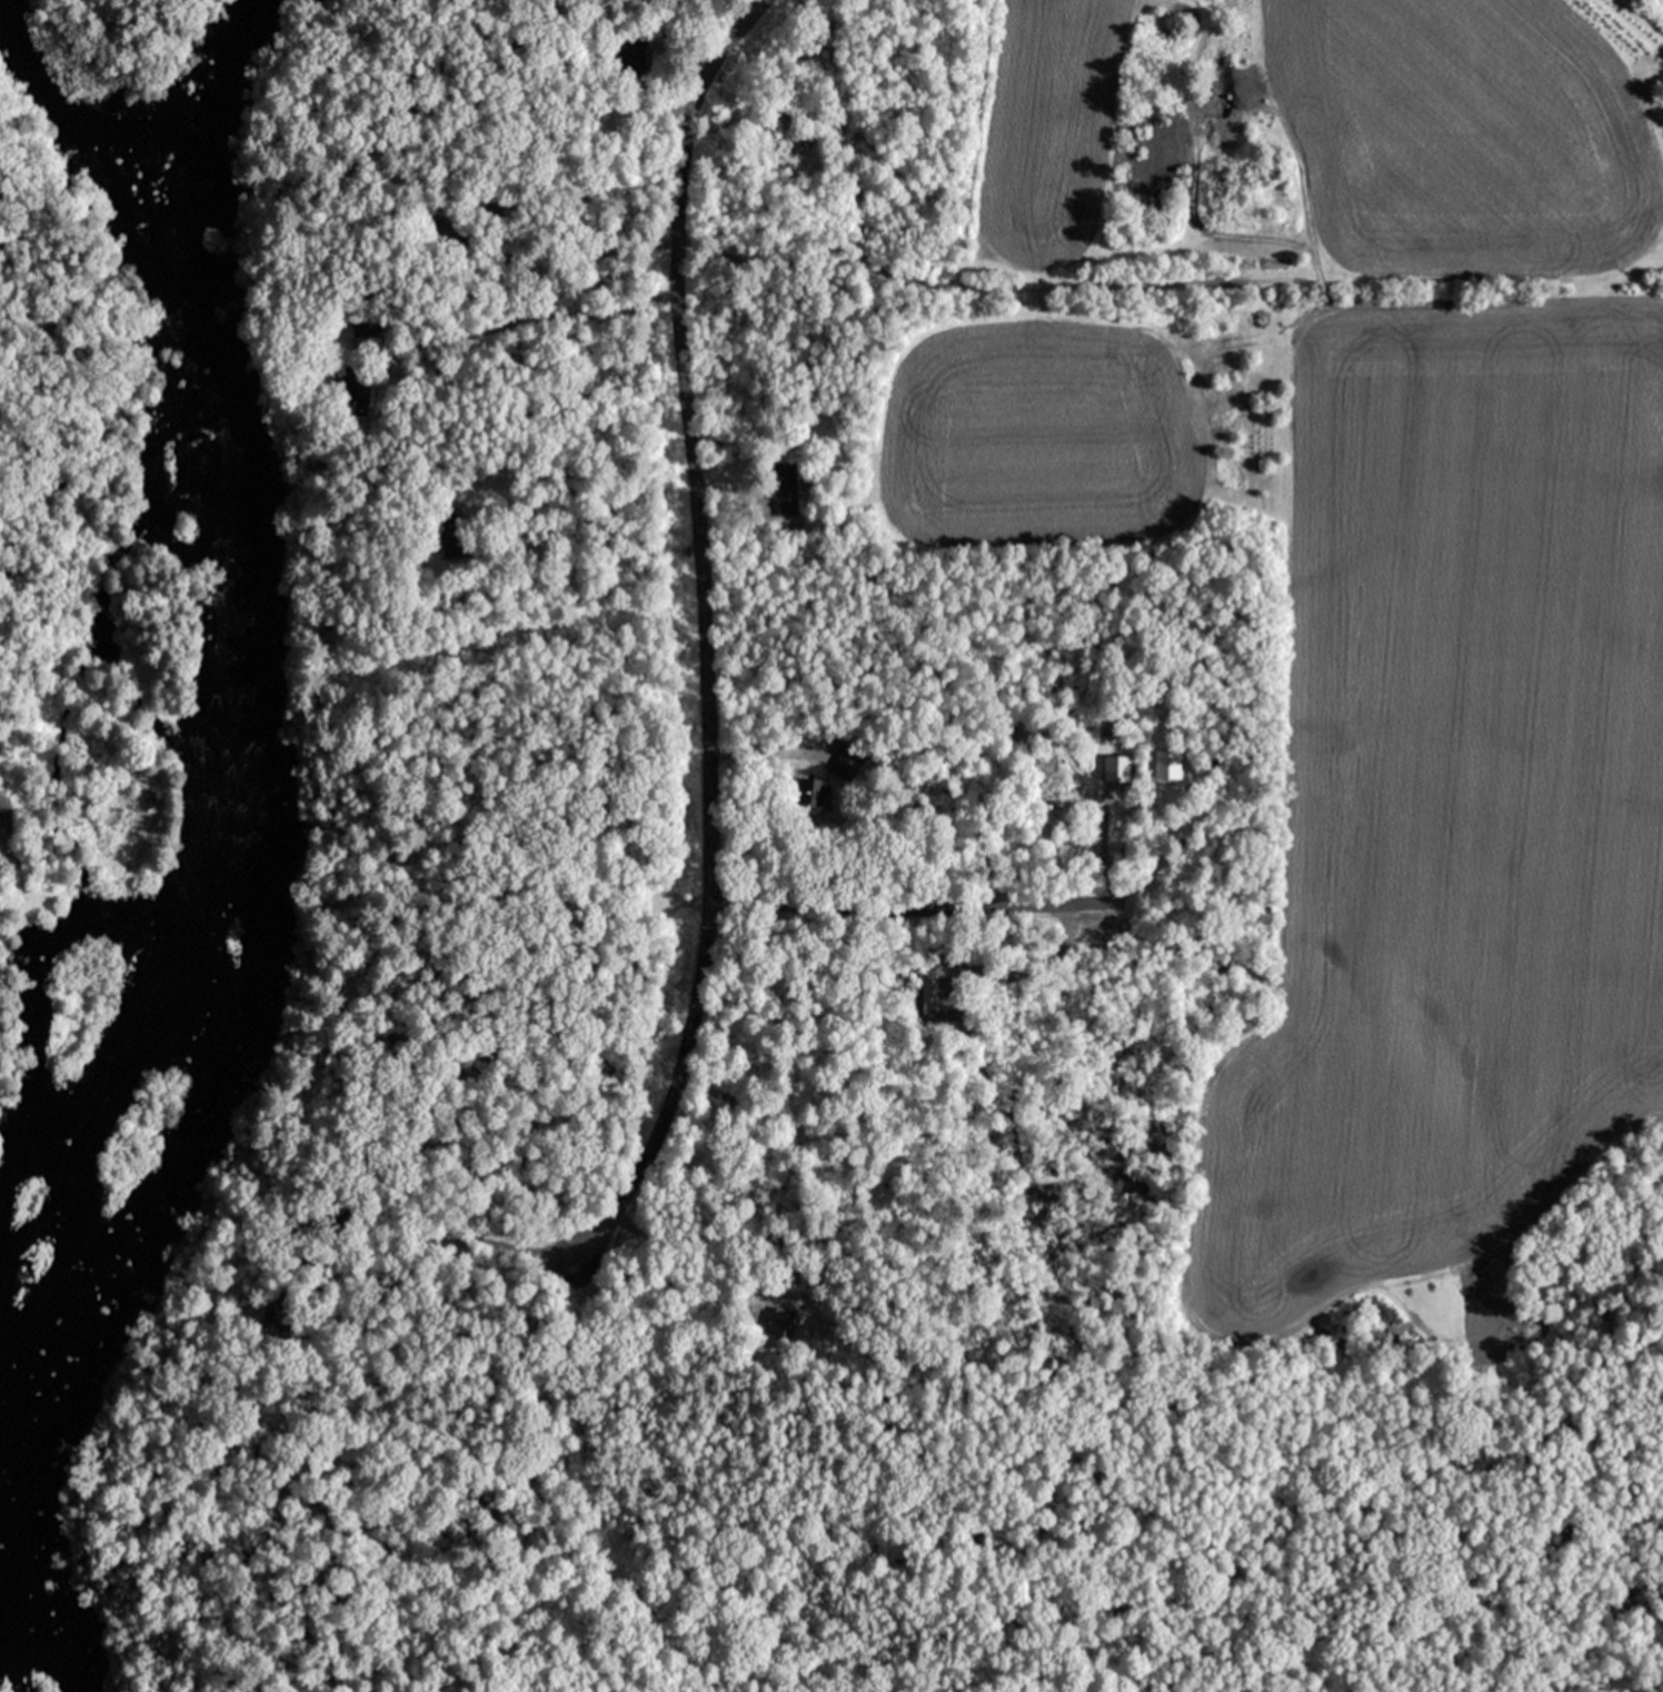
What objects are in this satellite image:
building: (431, 222)
river: (188, 320)
building: (347, 380)
building: (785, 489)
road: (697, 639)
crop: (1388, 748)
building: (1116, 765)
river: (266, 839)
road: (904, 897)
river: (131, 1276)
road: (596, 1491)

